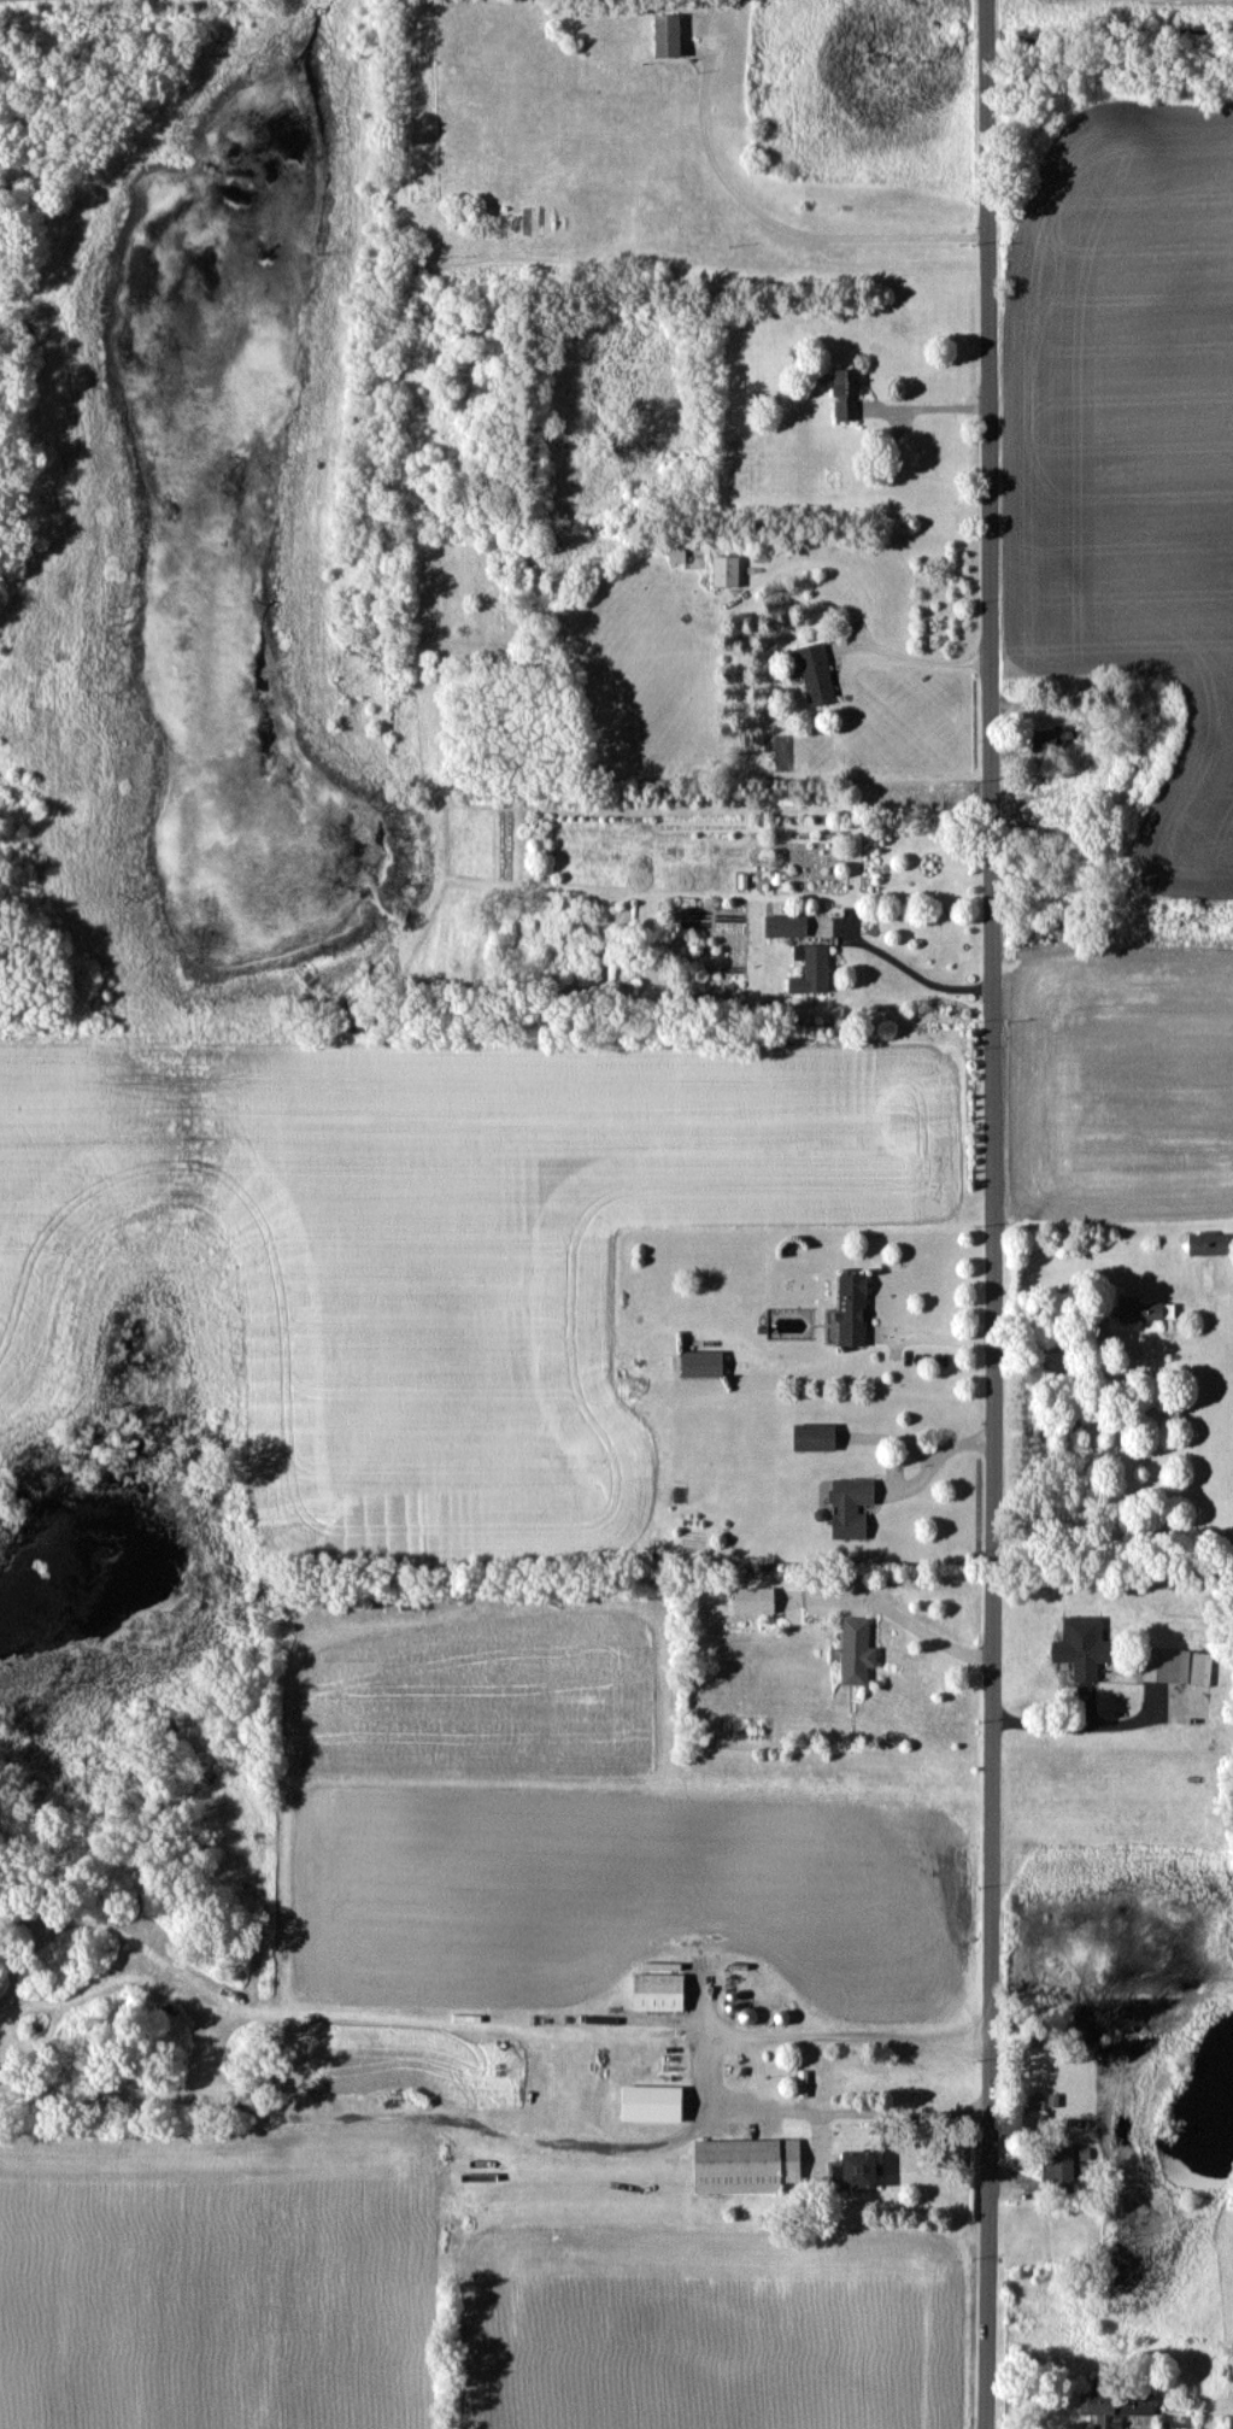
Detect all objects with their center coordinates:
building: (659, 35)
road: (788, 229)
building: (839, 391)
road: (924, 407)
building: (722, 569)
road: (914, 646)
building: (811, 673)
building: (1057, 739)
building: (782, 923)
building: (808, 968)
road: (916, 968)
road: (992, 1214)
building: (1204, 1242)
building: (845, 1308)
building: (1141, 1309)
road: (930, 1337)
building: (693, 1362)
building: (806, 1436)
road: (918, 1438)
building: (844, 1506)
building: (746, 1597)
road: (897, 1612)
building: (1078, 1645)
building: (850, 1649)
building: (1152, 1664)
road: (1081, 1713)
building: (650, 1991)
road: (711, 2057)
building: (642, 2104)
building: (738, 2165)
building: (847, 2170)
building: (1052, 2170)
building: (1111, 2405)
building: (1226, 2422)

